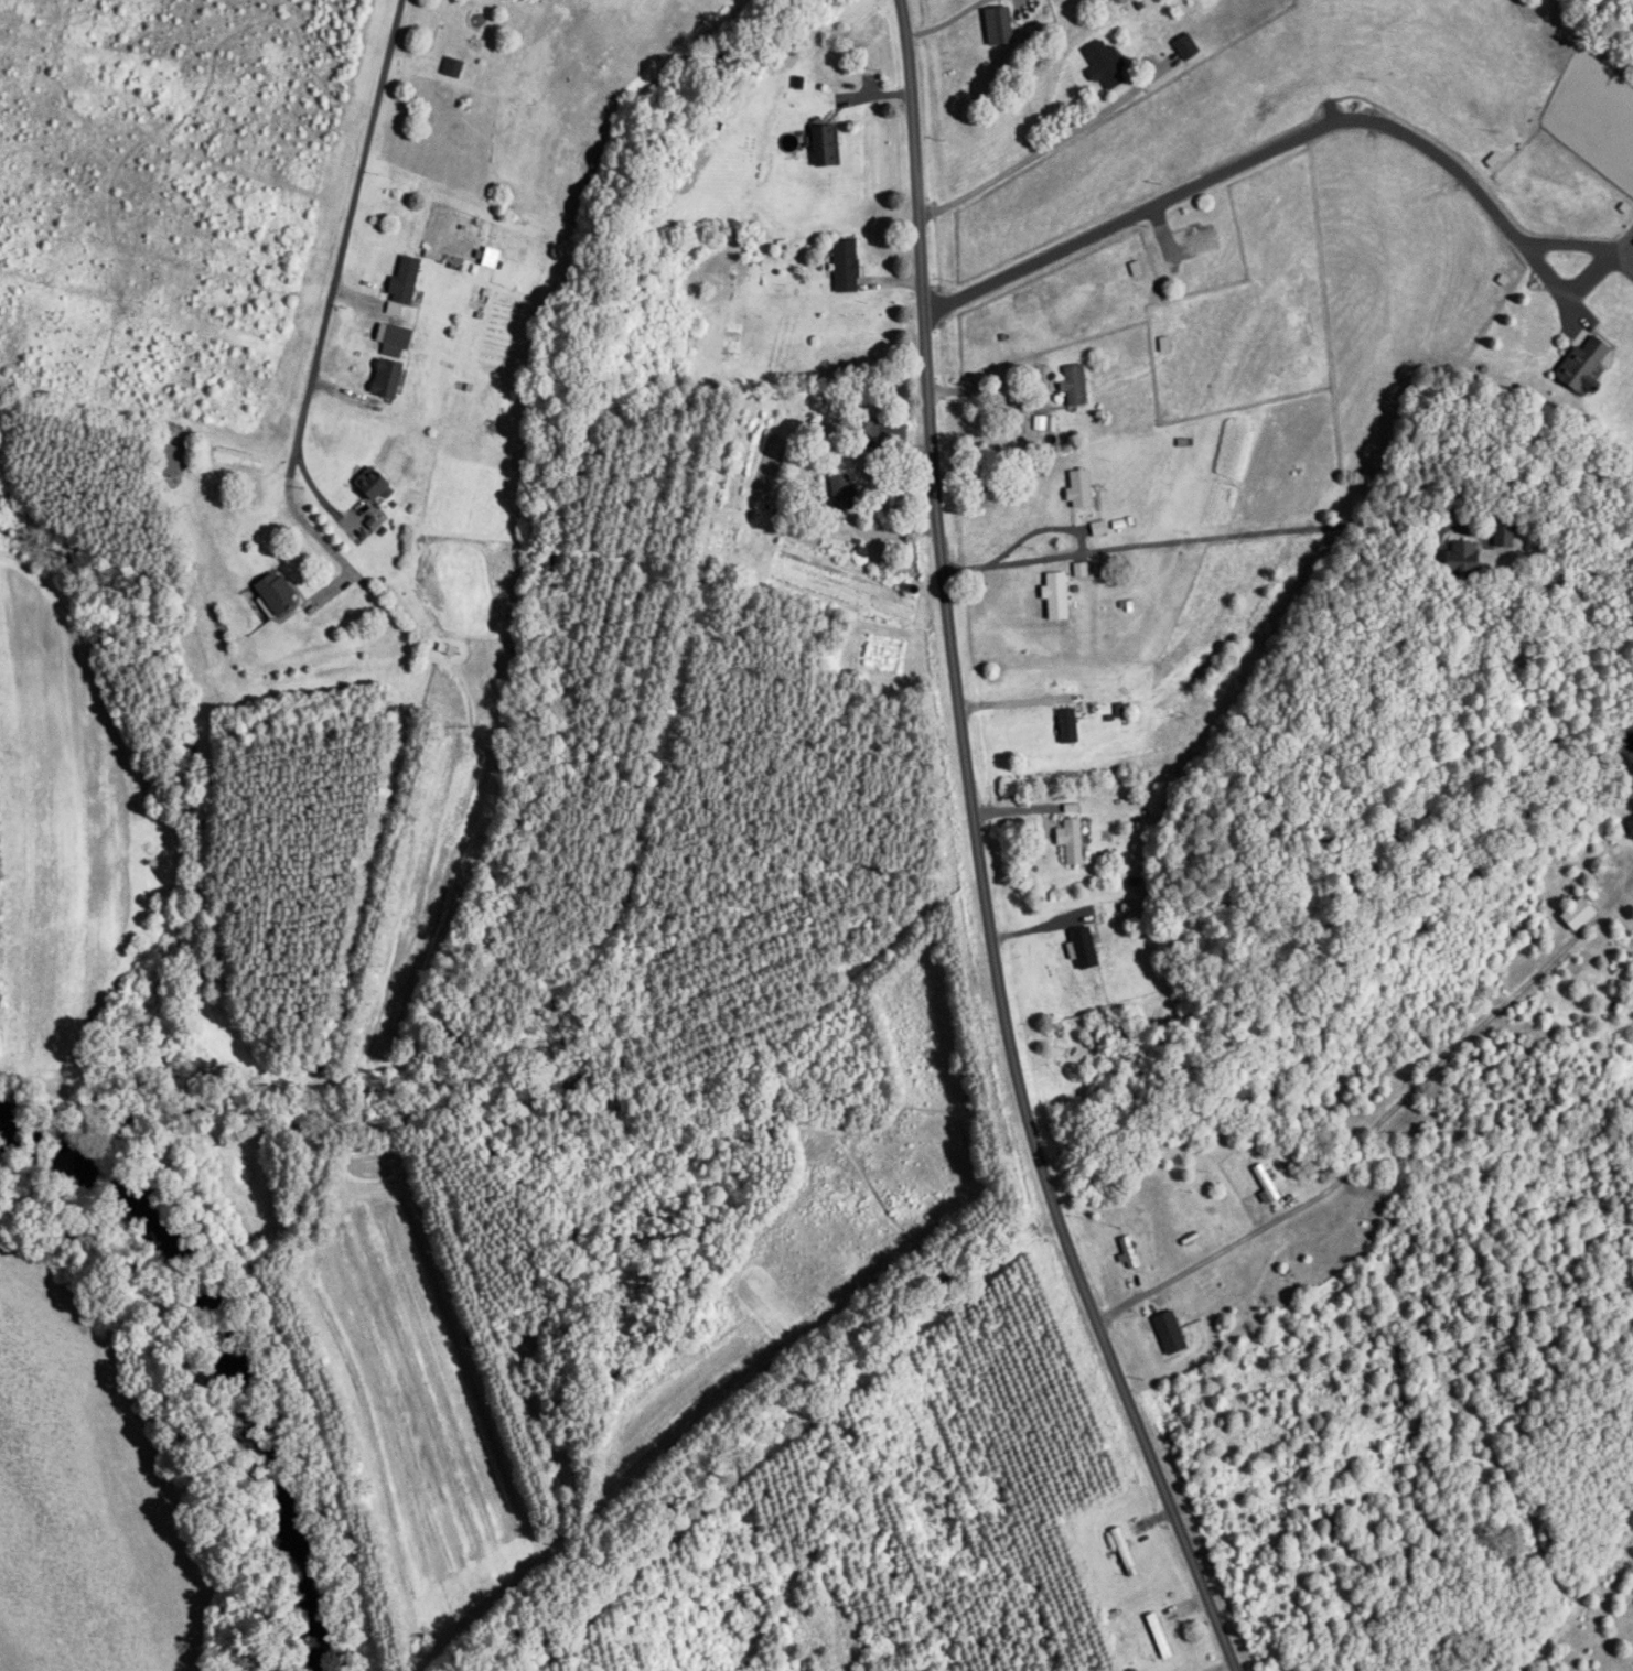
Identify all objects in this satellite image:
building: (999, 25)
building: (458, 31)
building: (1186, 46)
building: (1106, 64)
building: (452, 66)
building: (730, 107)
building: (825, 144)
road: (1038, 157)
road: (1484, 197)
road: (1131, 205)
building: (1202, 240)
road: (345, 241)
building: (846, 266)
building: (405, 280)
building: (390, 358)
building: (1582, 363)
building: (1075, 384)
road: (984, 395)
building: (883, 430)
building: (171, 453)
building: (373, 483)
building: (1081, 488)
building: (840, 492)
road: (319, 494)
road: (1040, 528)
road: (313, 531)
building: (1503, 535)
road: (1192, 538)
building: (1463, 558)
building: (277, 592)
building: (1057, 594)
building: (1067, 725)
building: (1630, 828)
building: (1073, 841)
road: (981, 854)
building: (1579, 914)
building: (1085, 948)
road: (1463, 1027)
building: (1266, 1183)
road: (1197, 1250)
building: (1127, 1252)
building: (1169, 1333)
river: (205, 1377)
building: (1158, 1637)

